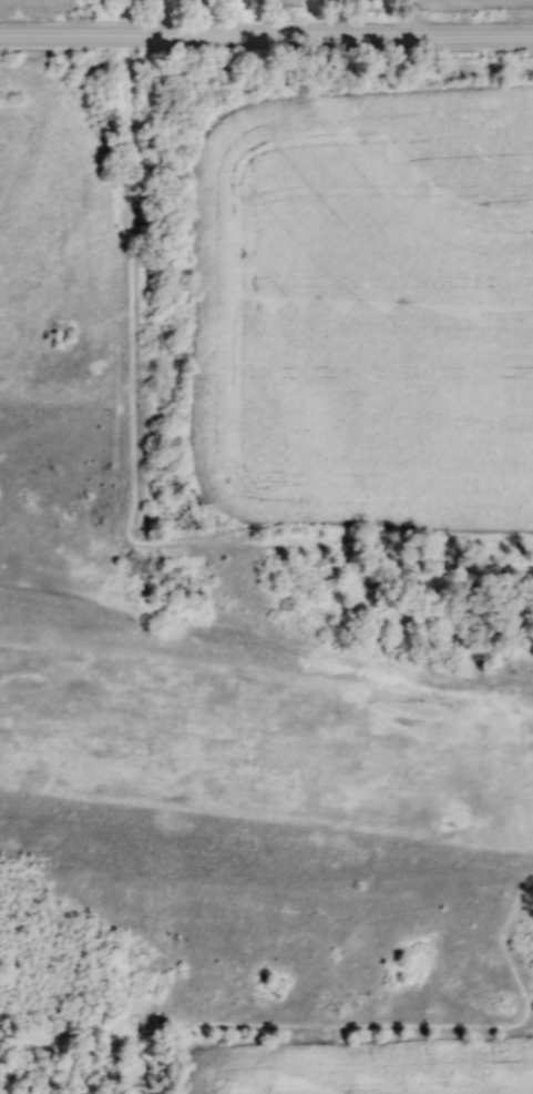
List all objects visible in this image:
road: (266, 34)

